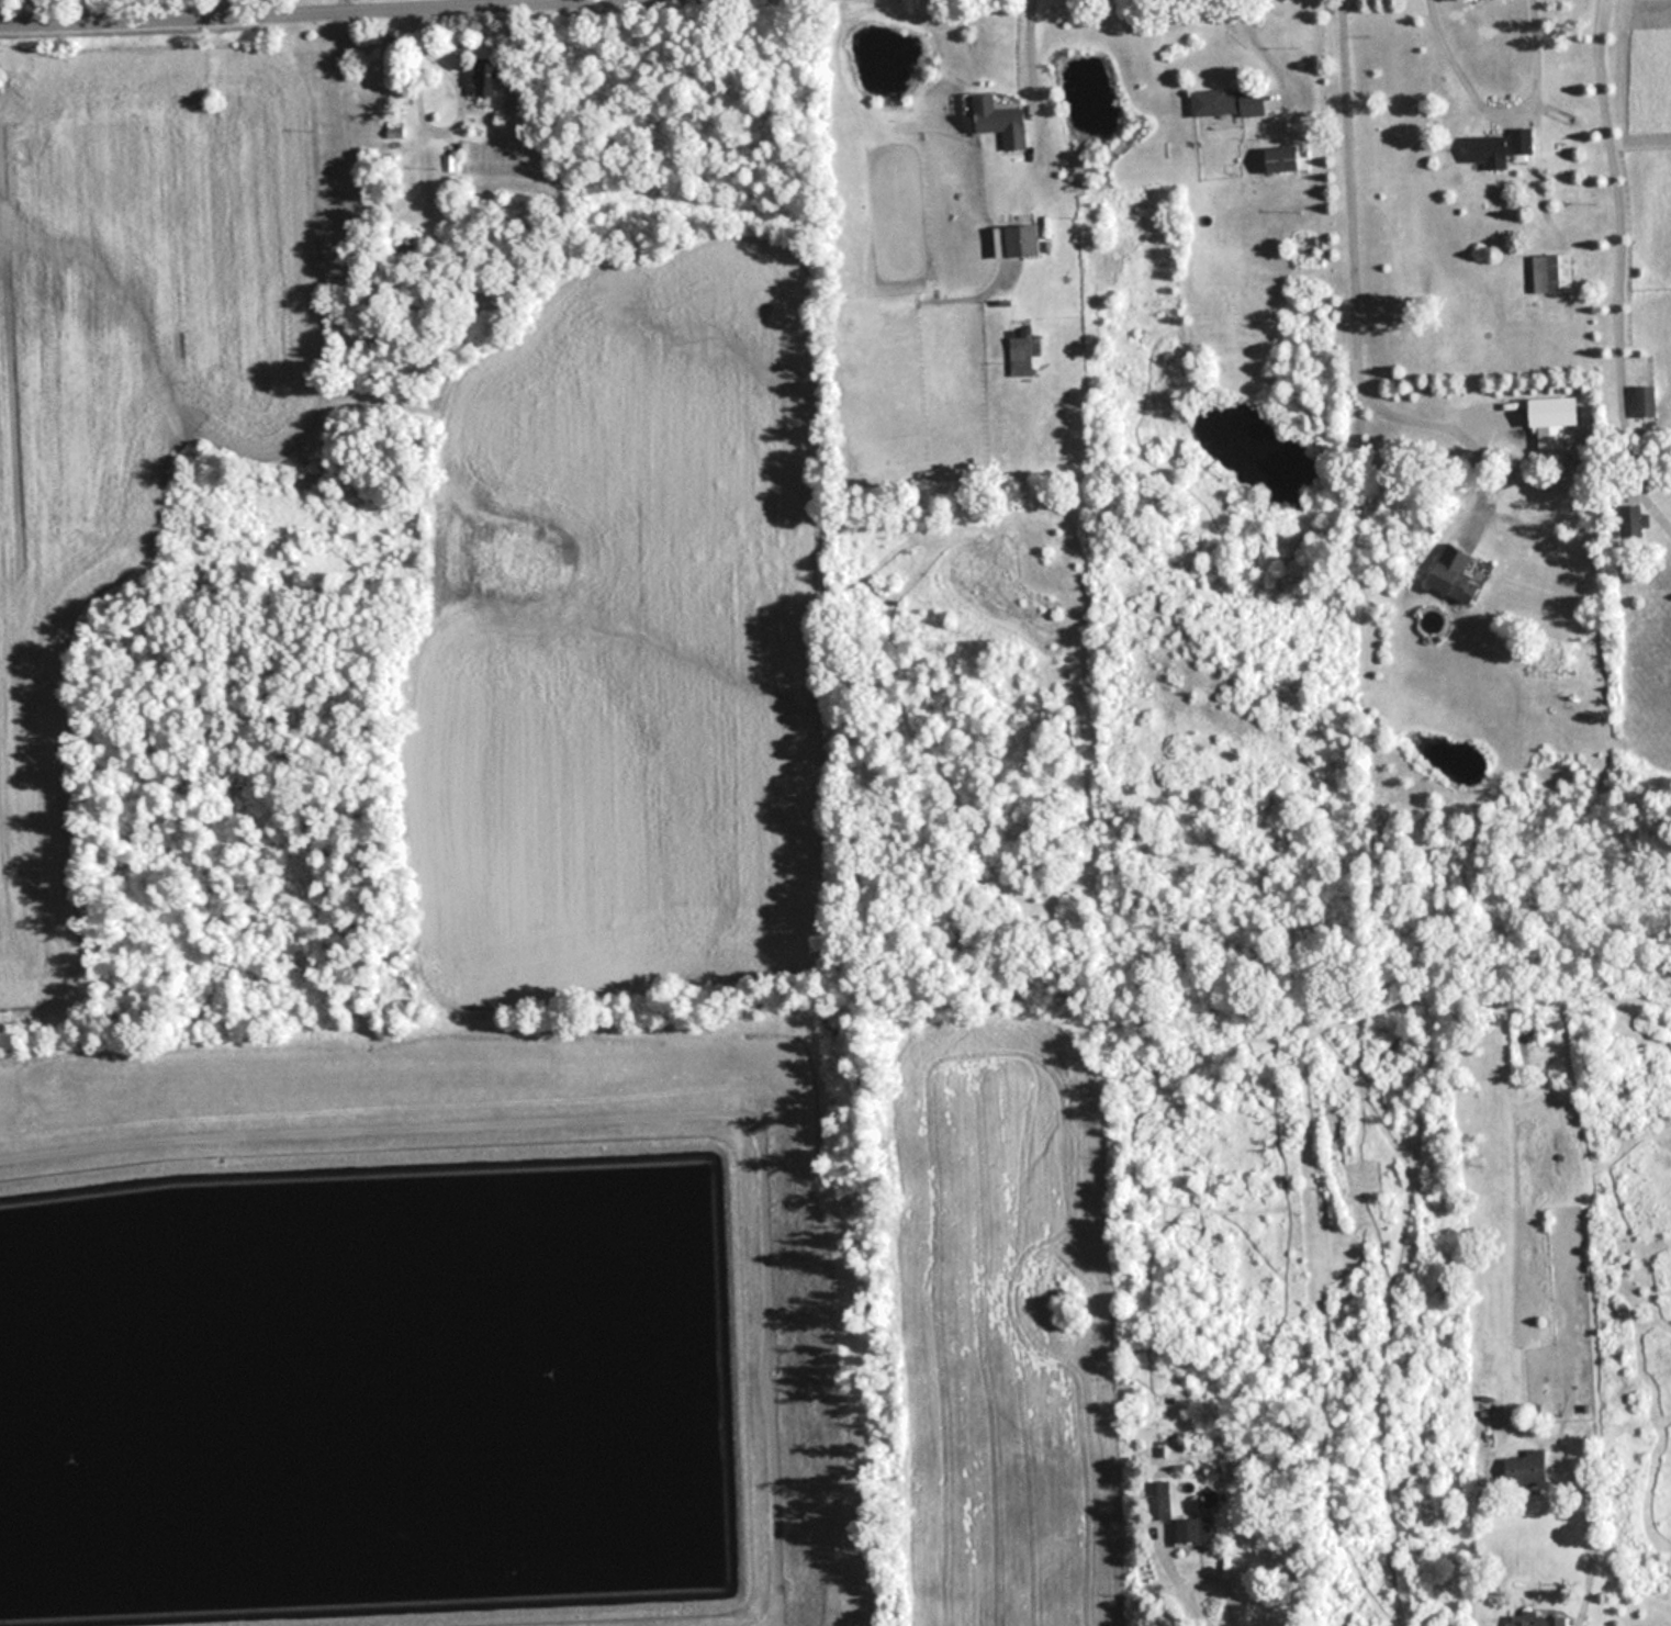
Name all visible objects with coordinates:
road: (105, 3)
building: (485, 78)
road: (1500, 98)
building: (1227, 101)
building: (1001, 121)
building: (1499, 148)
building: (1024, 242)
building: (411, 245)
road: (1620, 265)
building: (1554, 273)
road: (1354, 282)
building: (1022, 357)
building: (1646, 402)
building: (1633, 523)
building: (1456, 574)
wastewater plant: (434, 1325)
building: (1527, 1469)
building: (1158, 1499)
building: (1197, 1529)
road: (1188, 1582)
building: (1540, 1619)

